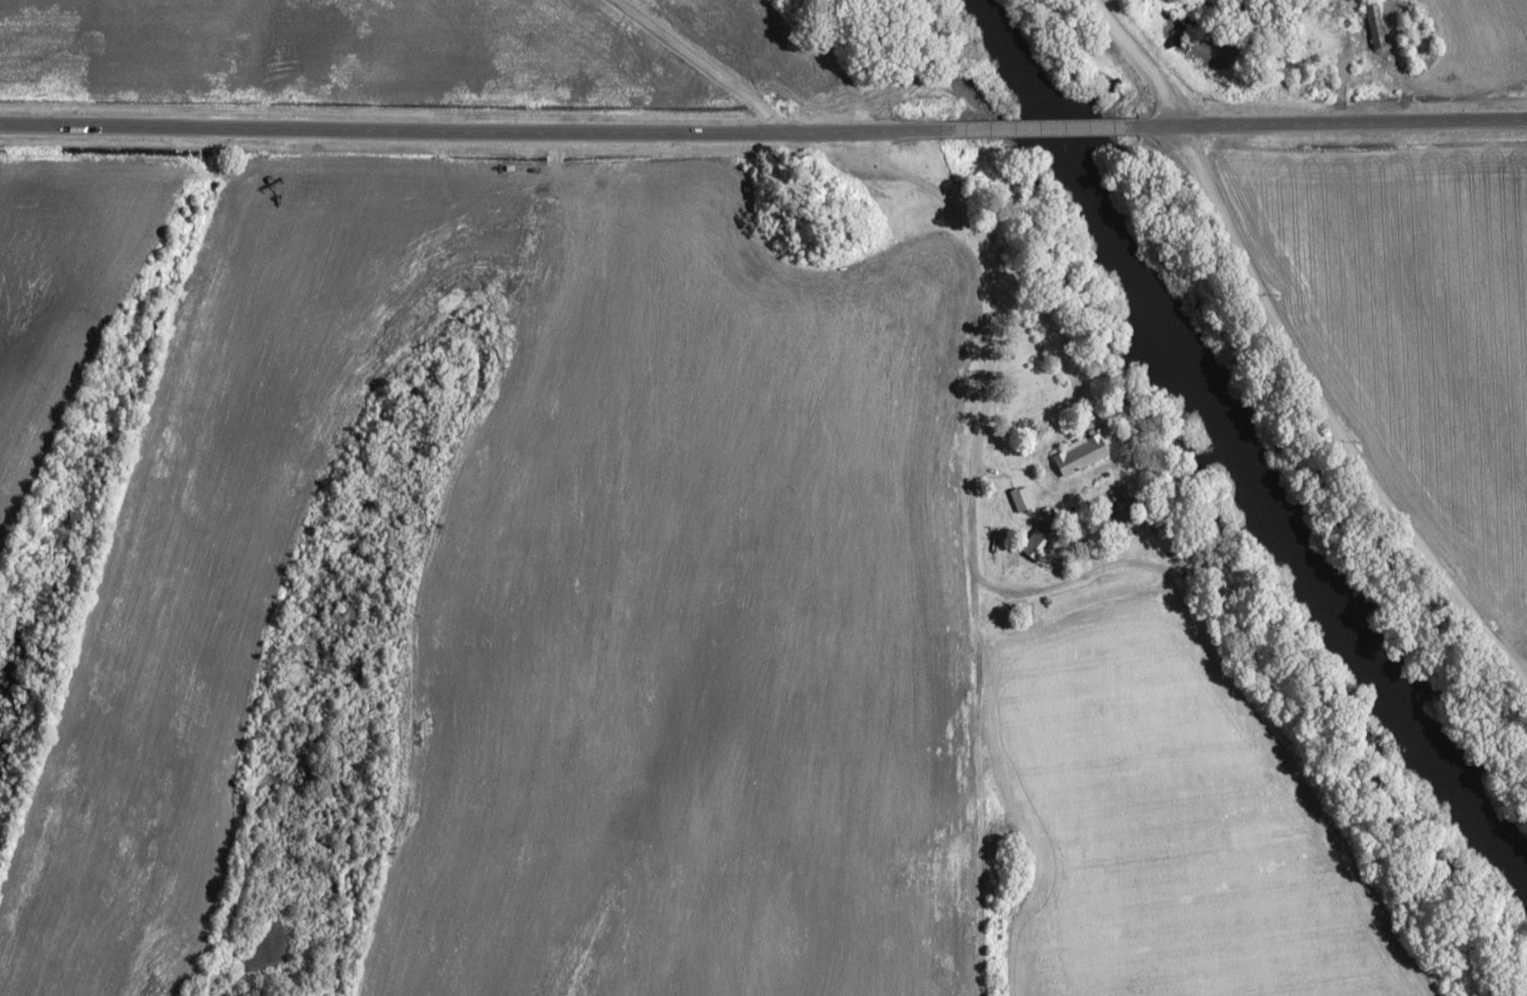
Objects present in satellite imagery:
building: (1372, 24)
building: (1319, 44)
road: (1133, 61)
road: (708, 66)
road: (1323, 123)
road: (1021, 129)
road: (460, 132)
road: (1332, 411)
river: (1242, 438)
building: (1077, 454)
building: (1020, 500)
road: (973, 527)
building: (1037, 540)

